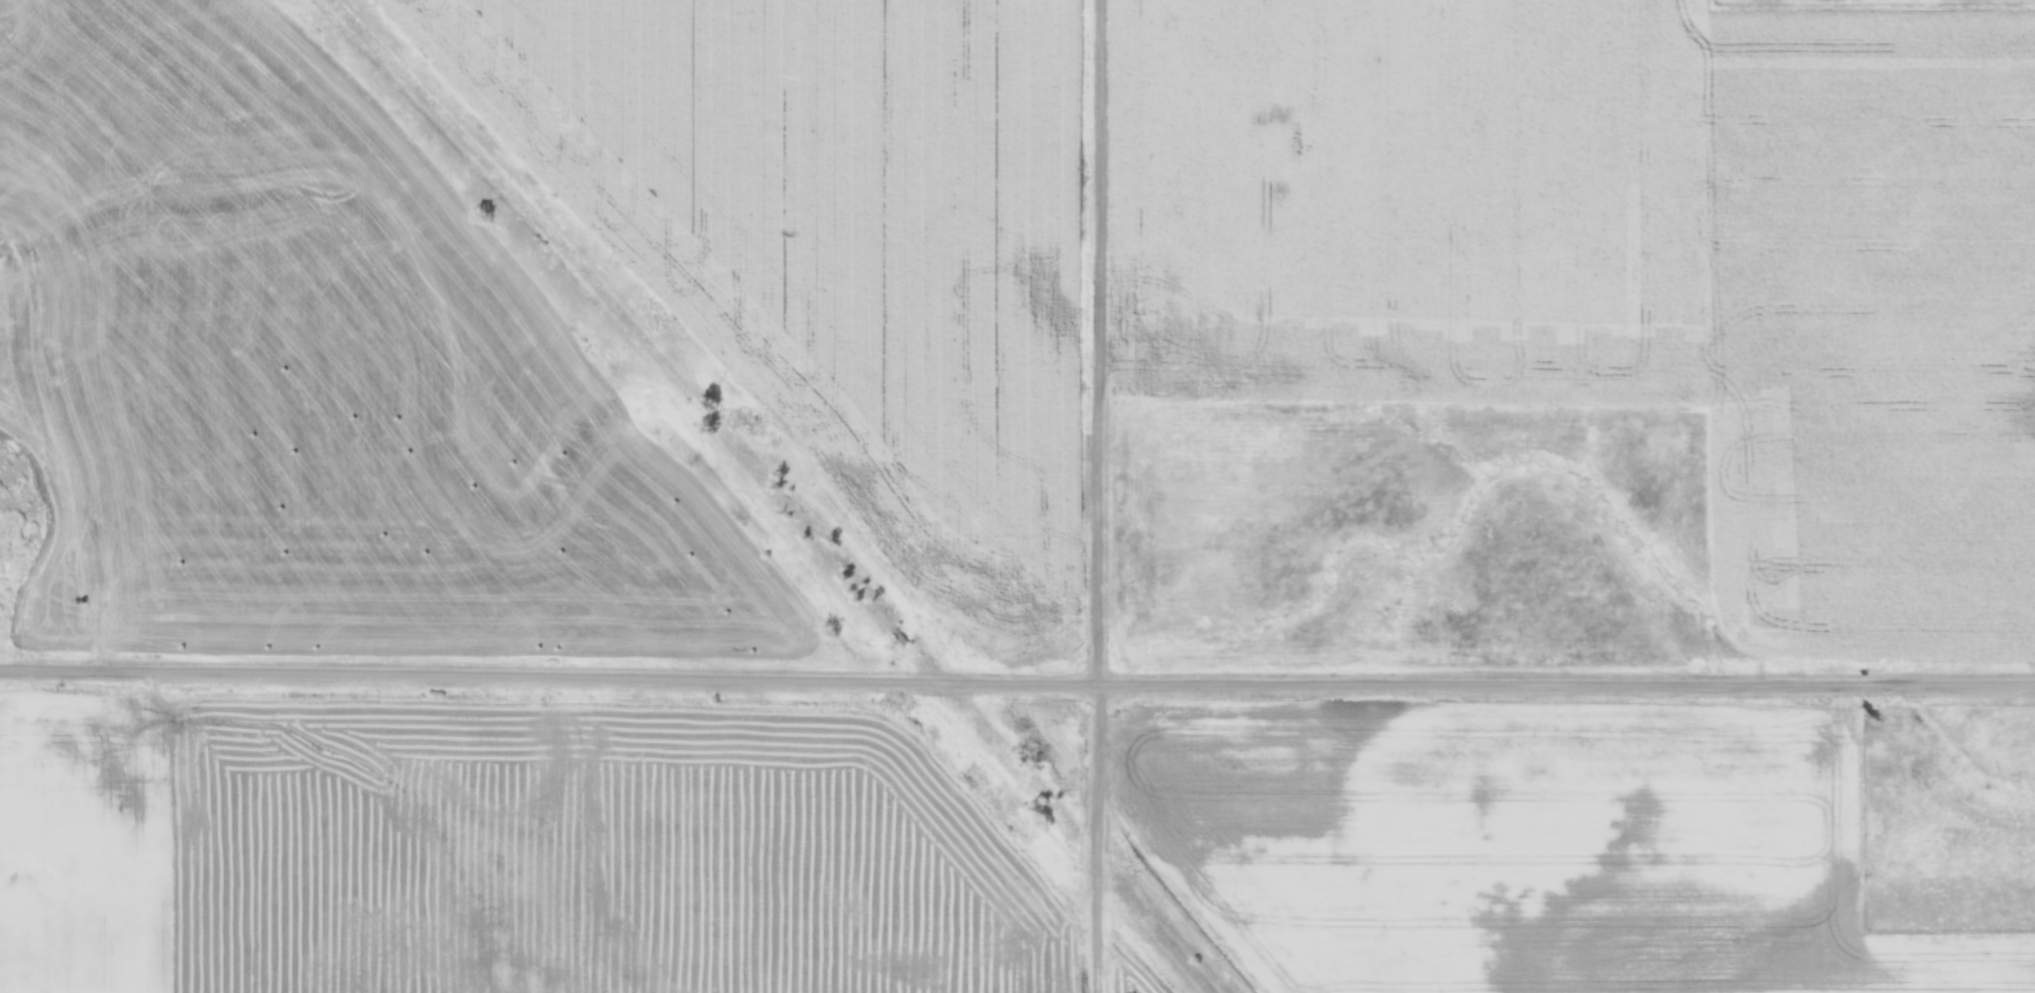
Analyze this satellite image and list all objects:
road: (1100, 340)
road: (1567, 674)
road: (550, 677)
road: (1099, 836)

